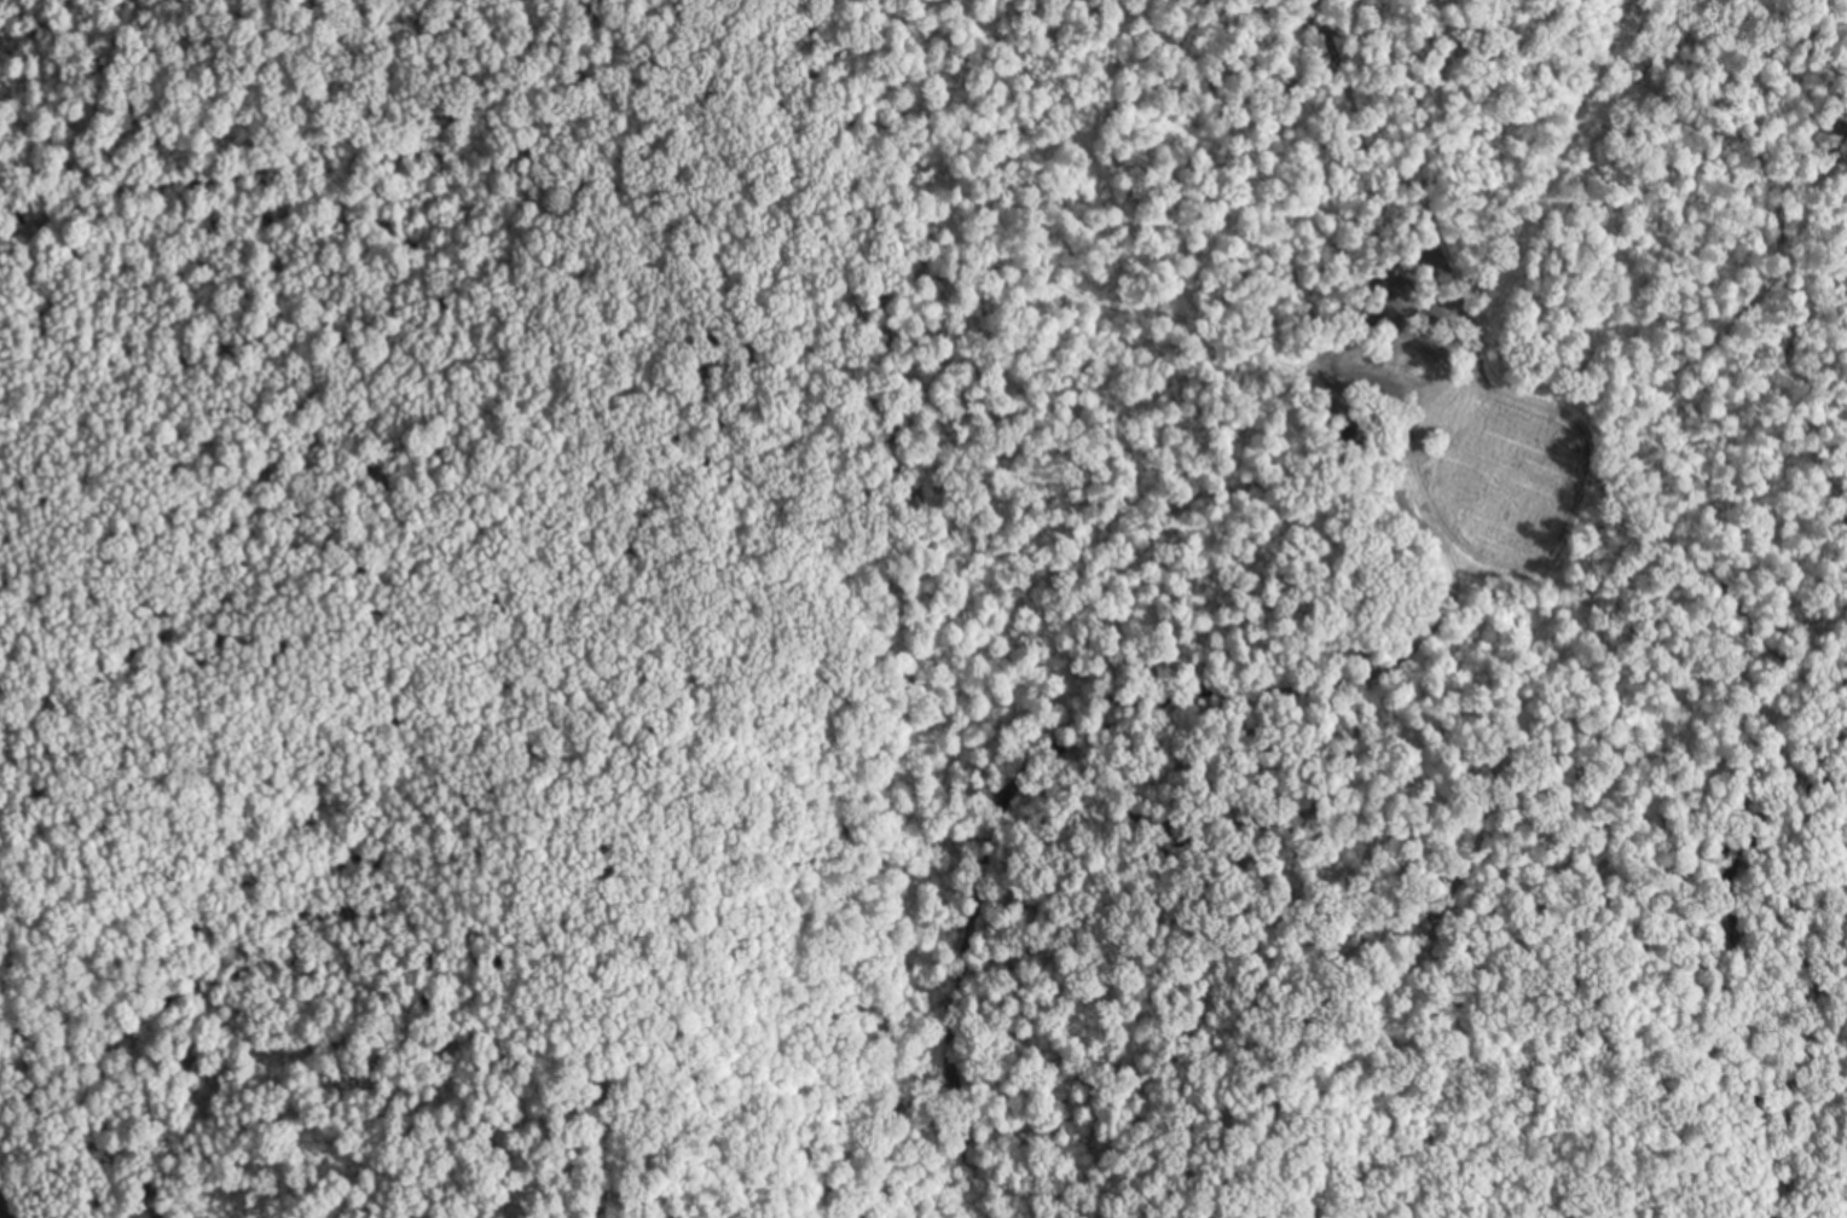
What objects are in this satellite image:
road: (5, 1208)

